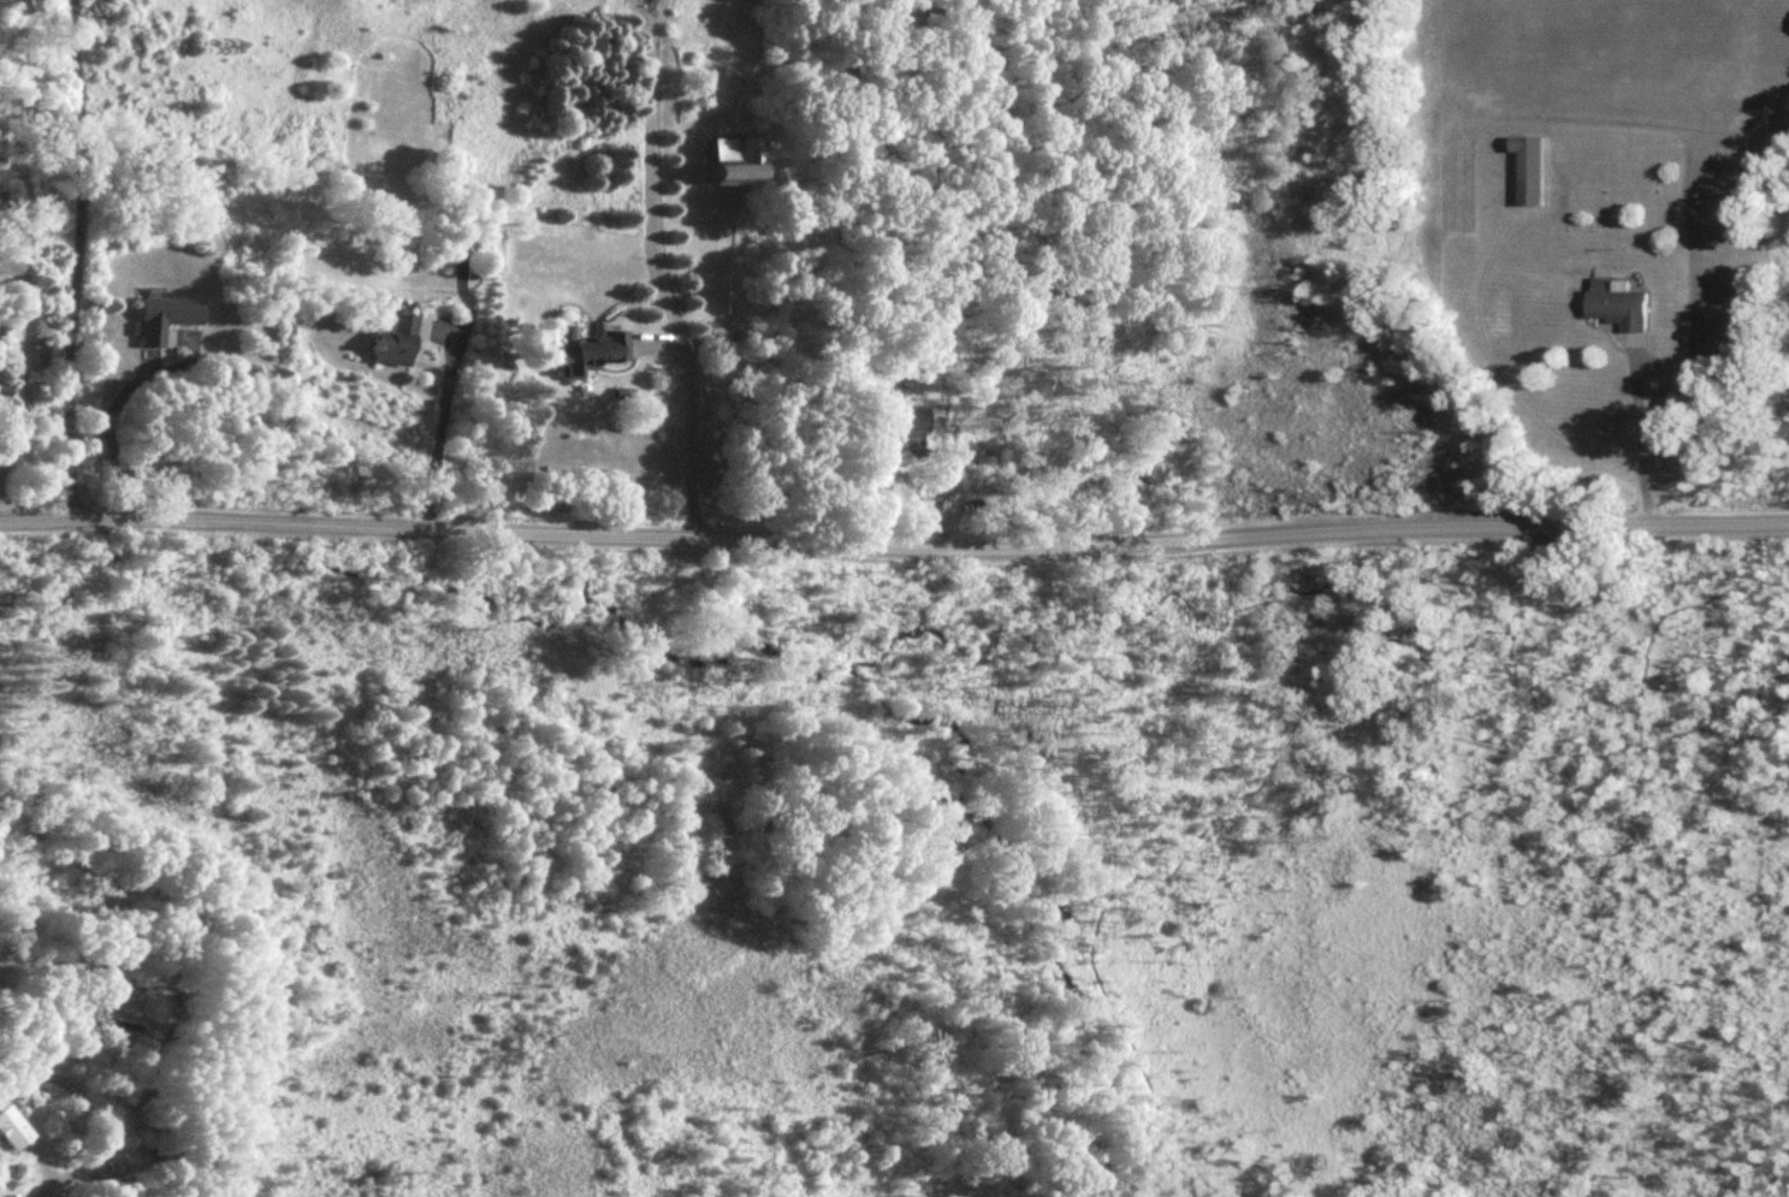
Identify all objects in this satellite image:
road: (640, 11)
road: (654, 11)
building: (723, 161)
building: (1533, 170)
road: (647, 185)
road: (72, 259)
building: (1623, 309)
building: (165, 319)
building: (389, 344)
building: (584, 352)
road: (23, 361)
road: (112, 407)
road: (692, 416)
road: (440, 428)
building: (896, 429)
road: (1641, 440)
road: (894, 532)
parking lot: (1559, 544)
road: (1724, 604)
road: (1289, 728)
road: (87, 1106)
building: (12, 1130)

